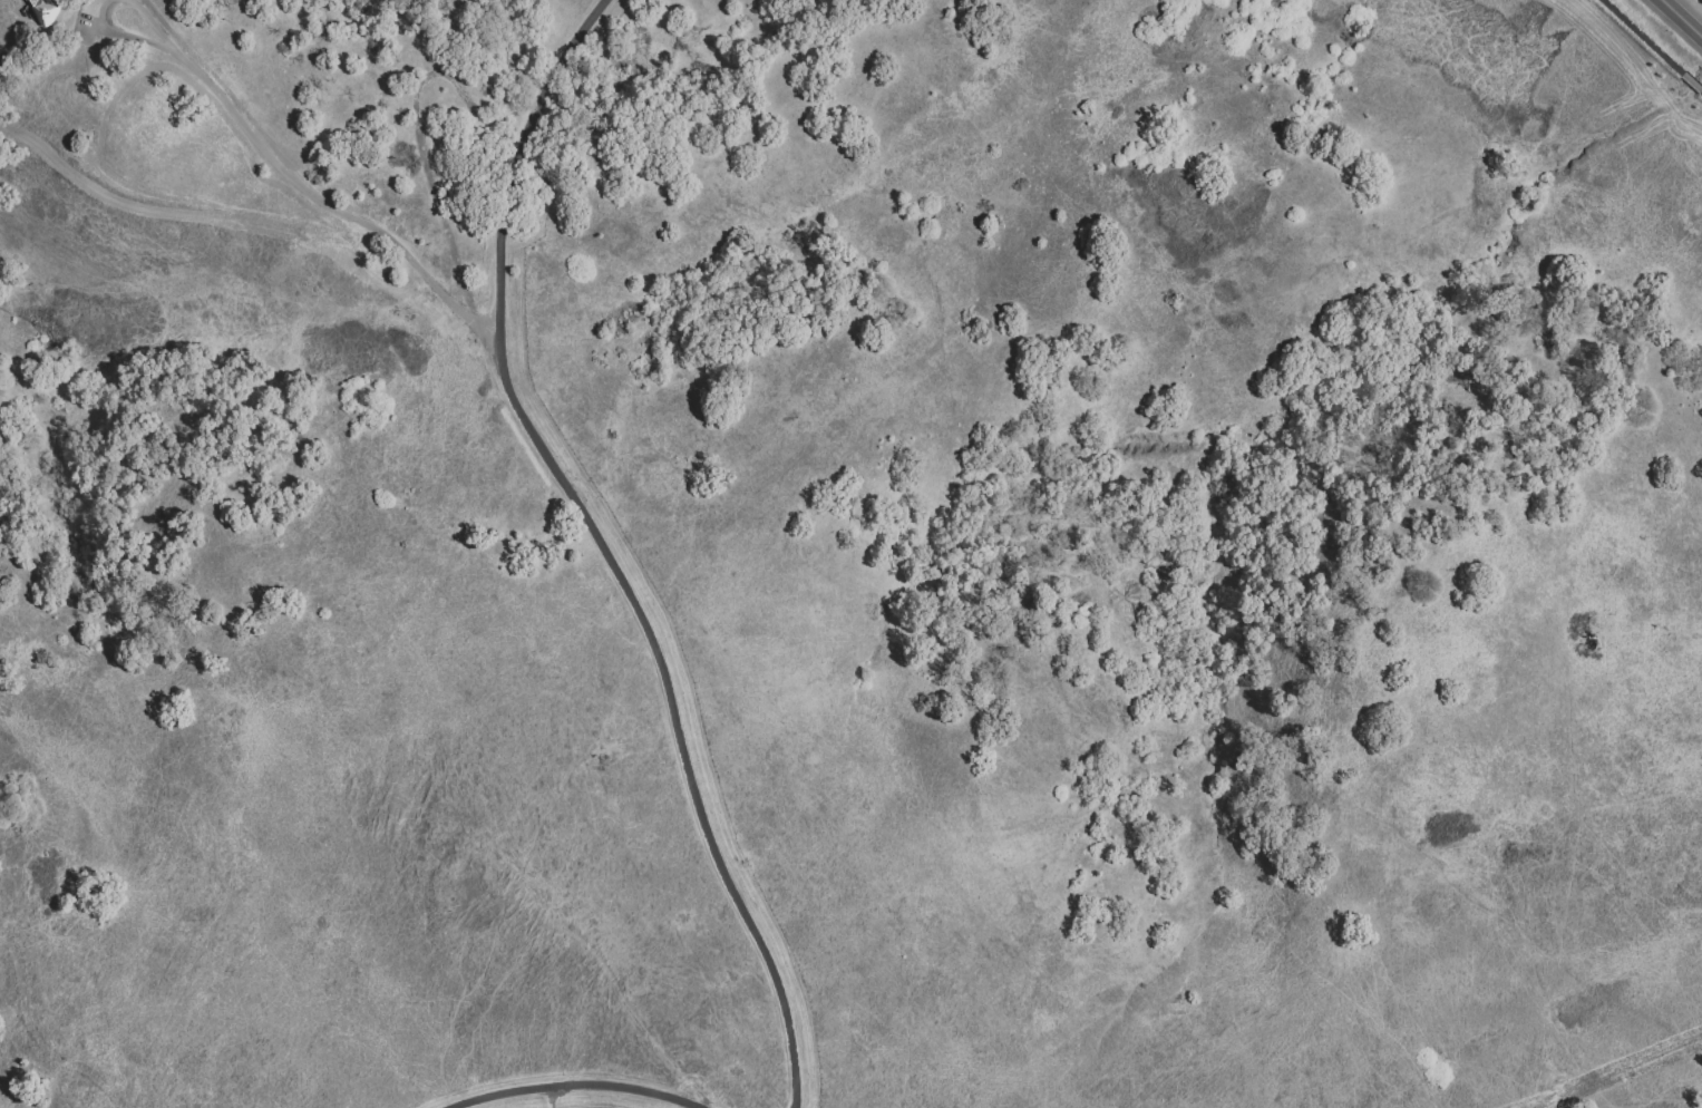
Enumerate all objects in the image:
building: (45, 11)
road: (1681, 19)
road: (152, 21)
road: (118, 33)
road: (1643, 37)
road: (1693, 81)
building: (86, 142)
road: (329, 201)
road: (604, 546)
road: (574, 1092)
road: (548, 1099)

